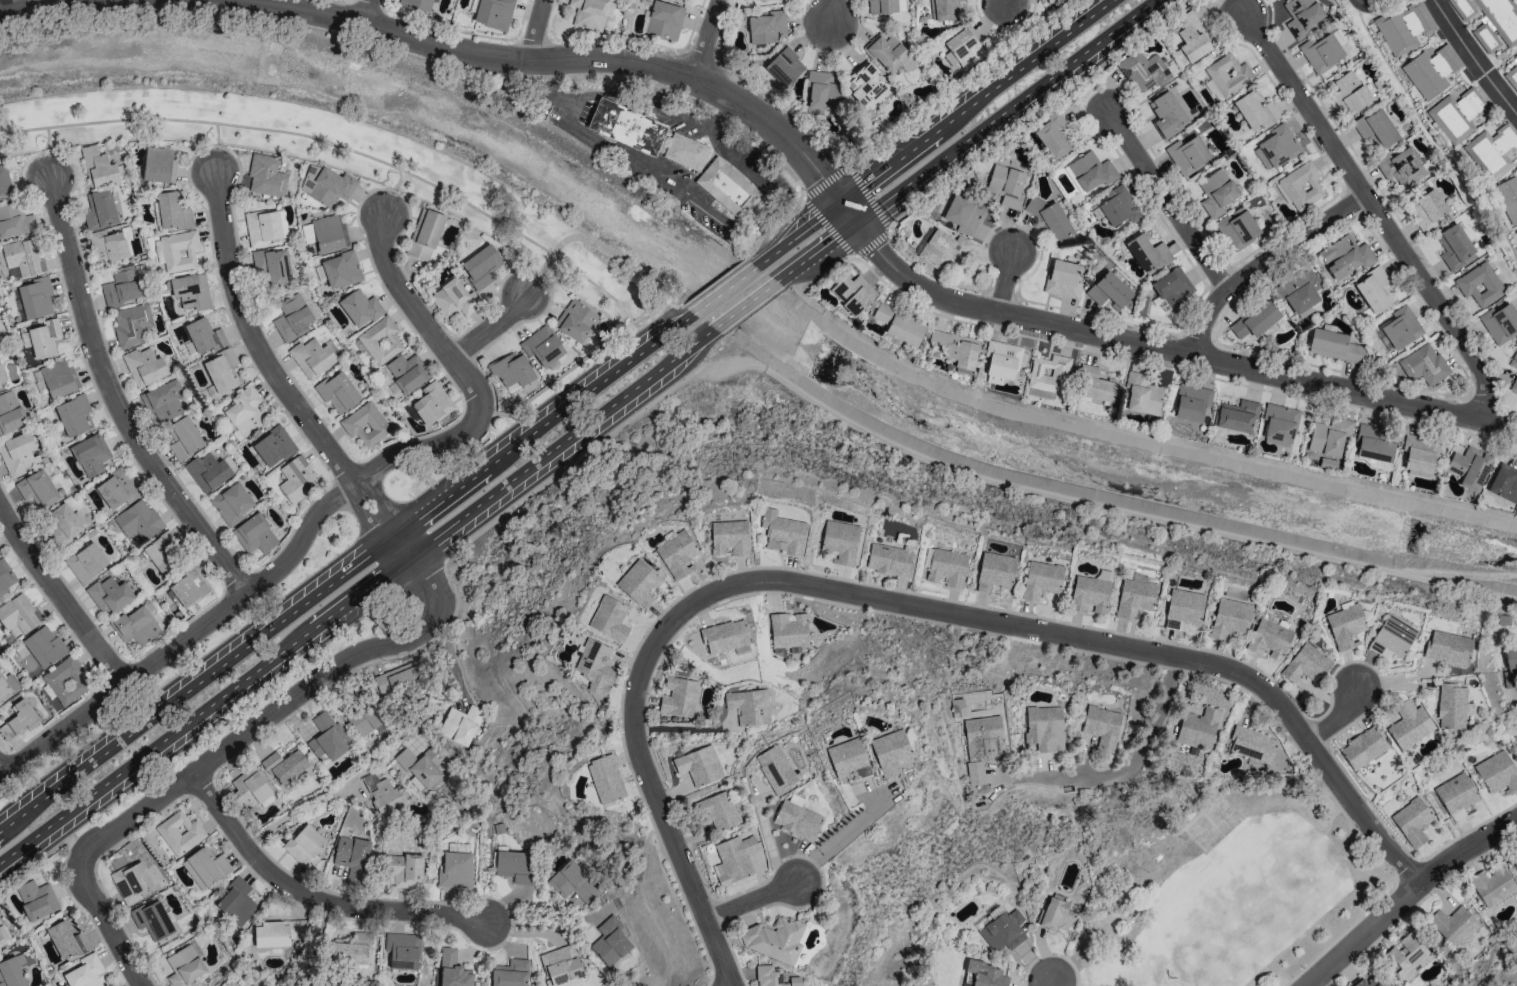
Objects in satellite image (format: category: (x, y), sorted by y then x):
building: (1050, 0)
road: (16, 2)
building: (417, 4)
building: (881, 6)
road: (1373, 6)
building: (1472, 7)
building: (944, 9)
road: (364, 10)
road: (833, 11)
building: (494, 13)
building: (589, 13)
building: (1302, 15)
building: (664, 20)
building: (1499, 25)
building: (766, 27)
building: (1404, 28)
road: (535, 29)
road: (706, 38)
building: (1190, 39)
building: (964, 48)
building: (1321, 52)
building: (890, 53)
building: (1515, 55)
road: (1474, 58)
road: (569, 59)
road: (1501, 62)
building: (785, 66)
building: (1143, 71)
building: (1430, 71)
building: (1228, 75)
building: (1512, 76)
building: (865, 85)
road: (962, 85)
building: (821, 91)
building: (1349, 92)
road: (976, 100)
road: (714, 108)
road: (720, 110)
road: (1008, 111)
building: (1254, 111)
road: (1037, 115)
building: (1168, 115)
building: (1456, 115)
road: (1420, 120)
road: (571, 123)
road: (705, 126)
building: (626, 127)
building: (1376, 128)
building: (1052, 136)
road: (215, 143)
road: (342, 147)
building: (1276, 147)
road: (45, 150)
building: (1492, 150)
building: (685, 152)
building: (1187, 155)
building: (159, 165)
building: (1401, 167)
building: (99, 168)
building: (1091, 171)
building: (266, 176)
road: (825, 181)
building: (4, 183)
building: (1006, 185)
building: (1301, 186)
building: (330, 187)
building: (727, 187)
road: (393, 188)
road: (680, 192)
building: (1216, 192)
road: (870, 196)
road: (1167, 198)
building: (1507, 198)
traffic signals: (842, 202)
building: (1118, 206)
building: (100, 209)
road: (1377, 209)
building: (1426, 209)
building: (172, 210)
road: (850, 212)
building: (963, 214)
building: (1050, 220)
building: (15, 221)
traffic signals: (858, 223)
road: (1499, 225)
building: (262, 227)
road: (828, 227)
building: (1237, 228)
building: (329, 233)
road: (798, 233)
building: (1516, 233)
building: (425, 234)
road: (873, 244)
building: (1454, 246)
building: (108, 247)
building: (943, 250)
building: (179, 251)
road: (611, 251)
building: (1147, 251)
road: (817, 252)
building: (23, 256)
building: (1345, 256)
road: (1263, 261)
road: (837, 264)
building: (271, 266)
building: (481, 266)
building: (341, 270)
road: (540, 273)
building: (1062, 279)
road: (1004, 283)
road: (713, 284)
building: (1479, 284)
building: (122, 286)
building: (1172, 288)
road: (724, 290)
building: (1109, 290)
building: (1300, 290)
building: (1374, 290)
building: (191, 291)
building: (853, 293)
building: (35, 298)
building: (453, 298)
road: (413, 306)
road: (746, 306)
building: (360, 307)
road: (654, 312)
building: (292, 318)
building: (575, 320)
building: (1255, 320)
building: (1500, 322)
building: (131, 324)
building: (899, 324)
road: (491, 326)
building: (1401, 327)
building: (204, 335)
road: (252, 336)
building: (25, 338)
building: (44, 338)
building: (380, 340)
building: (542, 346)
building: (1334, 346)
building: (955, 348)
road: (1159, 349)
building: (312, 357)
building: (1514, 360)
building: (1000, 361)
building: (1425, 364)
building: (144, 367)
building: (221, 370)
building: (512, 371)
building: (407, 372)
building: (1048, 374)
building: (2, 375)
building: (59, 378)
road: (558, 378)
building: (1514, 385)
building: (1097, 386)
building: (337, 392)
building: (1140, 394)
road: (113, 399)
building: (163, 401)
building: (1191, 402)
building: (432, 403)
building: (245, 411)
building: (10, 412)
building: (74, 415)
building: (1237, 416)
building: (365, 424)
building: (1278, 424)
road: (1502, 429)
building: (1328, 437)
building: (185, 438)
building: (273, 446)
building: (1373, 448)
building: (1419, 453)
building: (18, 454)
building: (90, 455)
building: (1468, 467)
building: (208, 471)
building: (297, 479)
building: (1504, 483)
building: (37, 489)
building: (116, 489)
road: (382, 502)
building: (231, 503)
road: (1096, 505)
road: (364, 516)
building: (138, 520)
building: (64, 524)
building: (256, 533)
building: (782, 533)
building: (729, 537)
building: (840, 541)
road: (404, 547)
building: (162, 552)
building: (677, 554)
building: (889, 559)
building: (86, 563)
building: (945, 567)
road: (346, 571)
building: (995, 571)
building: (6, 577)
building: (1041, 579)
building: (638, 583)
building: (188, 588)
road: (254, 588)
building: (1091, 592)
road: (59, 595)
building: (110, 595)
road: (357, 598)
building: (1134, 598)
road: (896, 601)
building: (1183, 609)
building: (19, 613)
road: (455, 614)
building: (609, 618)
building: (1229, 618)
building: (1345, 625)
building: (135, 626)
building: (789, 630)
building: (724, 636)
building: (1391, 638)
building: (1269, 639)
building: (44, 646)
building: (1448, 648)
building: (1306, 665)
building: (1510, 665)
building: (595, 666)
building: (401, 678)
building: (65, 680)
building: (7, 686)
building: (679, 697)
building: (749, 706)
building: (1451, 706)
building: (365, 714)
road: (1337, 716)
building: (18, 720)
building: (461, 724)
building: (1102, 725)
building: (1409, 725)
road: (684, 728)
building: (1044, 728)
building: (1198, 728)
building: (983, 734)
building: (328, 737)
building: (1252, 744)
building: (1363, 747)
road: (223, 750)
building: (890, 752)
building: (848, 760)
road: (1134, 764)
building: (284, 765)
building: (699, 765)
building: (419, 767)
building: (776, 769)
road: (0, 772)
building: (975, 772)
building: (1497, 772)
building: (605, 779)
road: (200, 785)
building: (249, 789)
building: (384, 795)
building: (1456, 796)
building: (720, 811)
building: (797, 818)
building: (1412, 822)
building: (180, 833)
road: (840, 841)
road: (769, 844)
building: (305, 845)
building: (352, 858)
building: (735, 858)
building: (1515, 863)
building: (515, 866)
building: (205, 867)
building: (455, 870)
building: (406, 871)
building: (131, 881)
park: (1217, 881)
building: (574, 882)
building: (1493, 886)
road: (1404, 894)
road: (312, 897)
building: (36, 899)
road: (752, 900)
building: (236, 902)
building: (1055, 915)
building: (153, 920)
road: (545, 923)
building: (1456, 926)
building: (1003, 931)
building: (279, 932)
building: (3, 936)
building: (774, 940)
building: (66, 941)
building: (610, 942)
building: (352, 950)
building: (402, 950)
building: (1407, 956)
building: (185, 965)
building: (561, 965)
building: (453, 970)
building: (12, 971)
building: (85, 972)
building: (510, 973)
building: (986, 974)
building: (773, 977)
building: (1366, 981)
road: (1057, 983)

